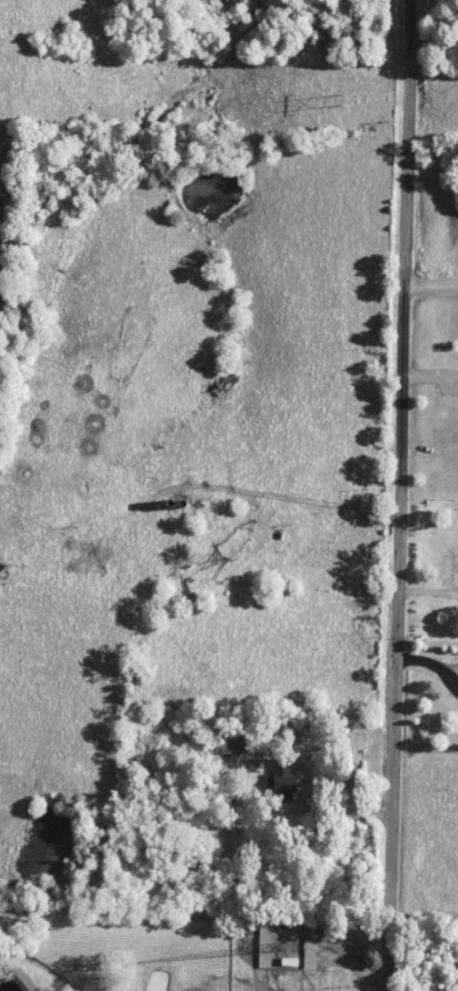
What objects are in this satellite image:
road: (435, 40)
road: (429, 282)
road: (403, 495)
building: (226, 745)
building: (279, 778)

